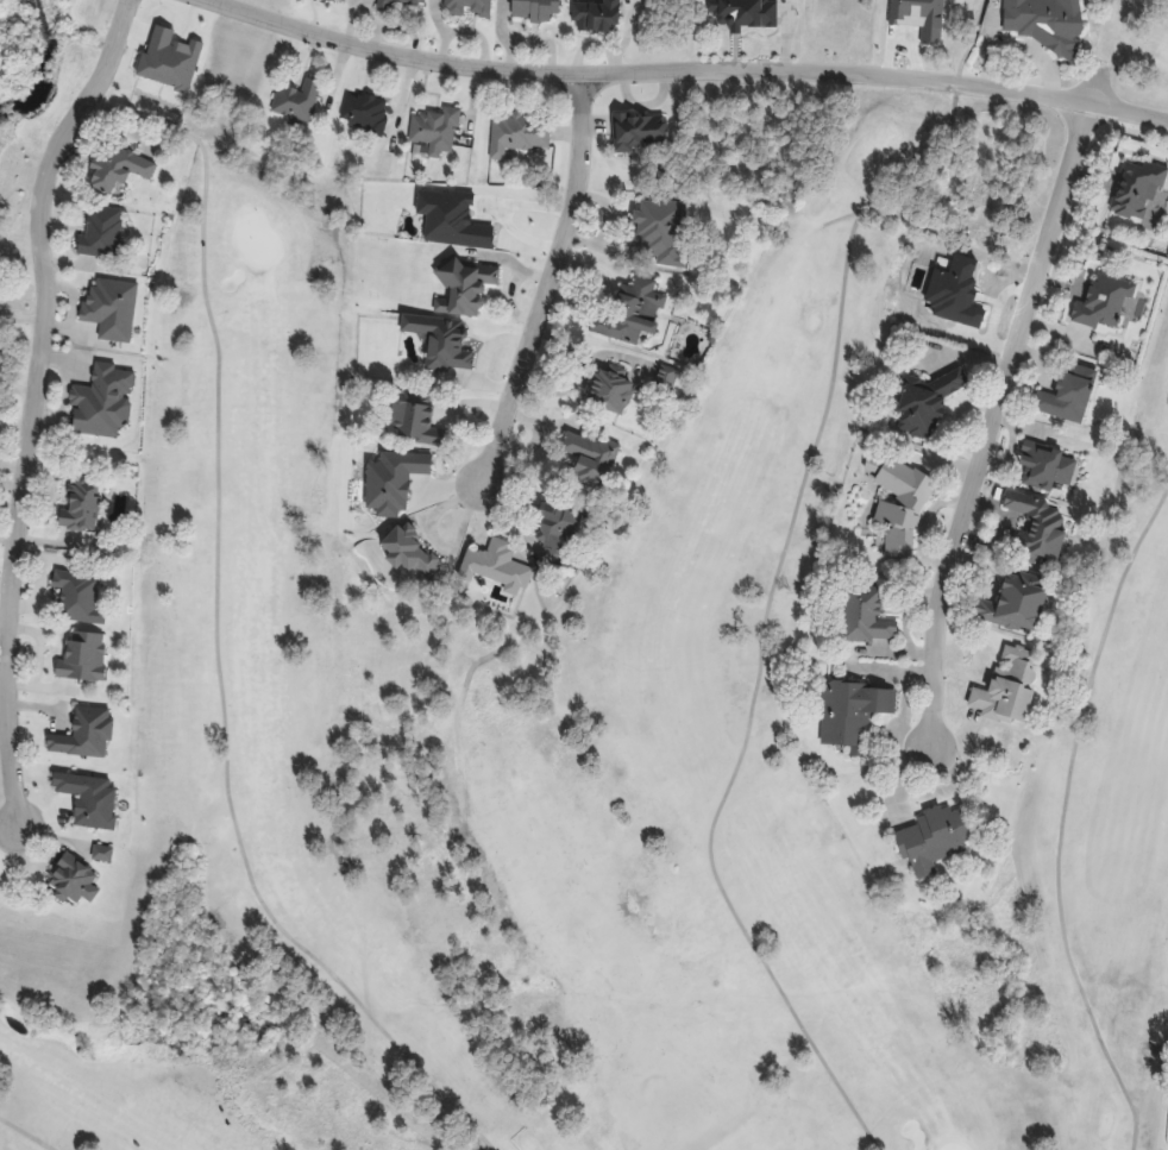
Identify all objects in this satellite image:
building: (397, 6)
building: (463, 7)
building: (597, 14)
building: (916, 14)
building: (534, 15)
building: (741, 18)
building: (1042, 21)
road: (963, 43)
building: (168, 59)
road: (682, 77)
building: (296, 99)
building: (359, 114)
building: (434, 131)
building: (640, 133)
building: (527, 139)
building: (115, 164)
building: (1139, 197)
road: (842, 219)
building: (658, 231)
building: (86, 235)
road: (547, 282)
building: (466, 285)
building: (1107, 297)
building: (106, 308)
building: (638, 310)
building: (429, 343)
building: (1062, 392)
building: (611, 396)
road: (33, 402)
building: (928, 403)
building: (103, 407)
building: (409, 420)
road: (990, 421)
building: (582, 463)
building: (1042, 467)
building: (384, 484)
building: (87, 514)
building: (894, 514)
building: (554, 532)
building: (1037, 542)
building: (401, 559)
building: (488, 565)
park: (583, 574)
building: (79, 595)
building: (1018, 610)
road: (766, 618)
building: (862, 621)
road: (215, 634)
building: (84, 656)
building: (1009, 691)
building: (848, 721)
building: (82, 735)
building: (89, 798)
road: (1061, 811)
building: (931, 843)
building: (65, 876)
road: (26, 1133)

